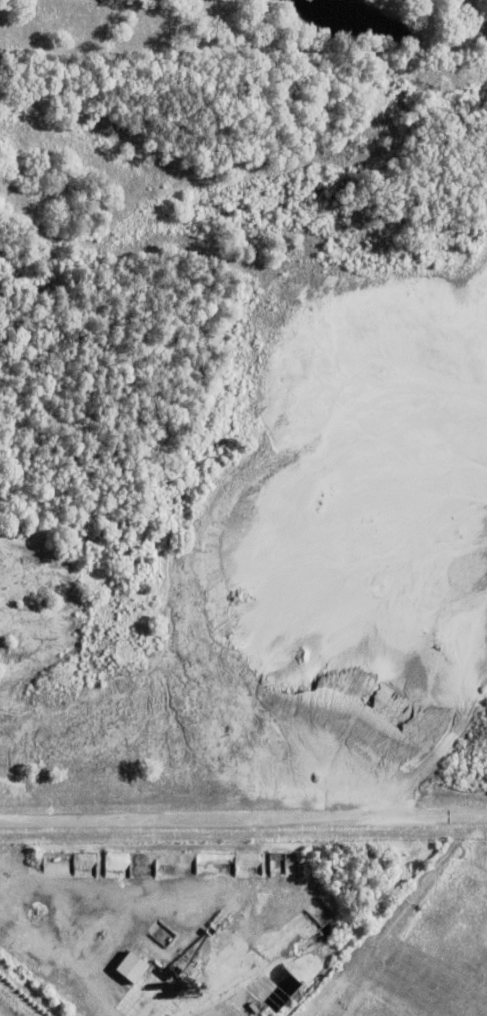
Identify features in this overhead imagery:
building: (332, 927)
building: (133, 967)

